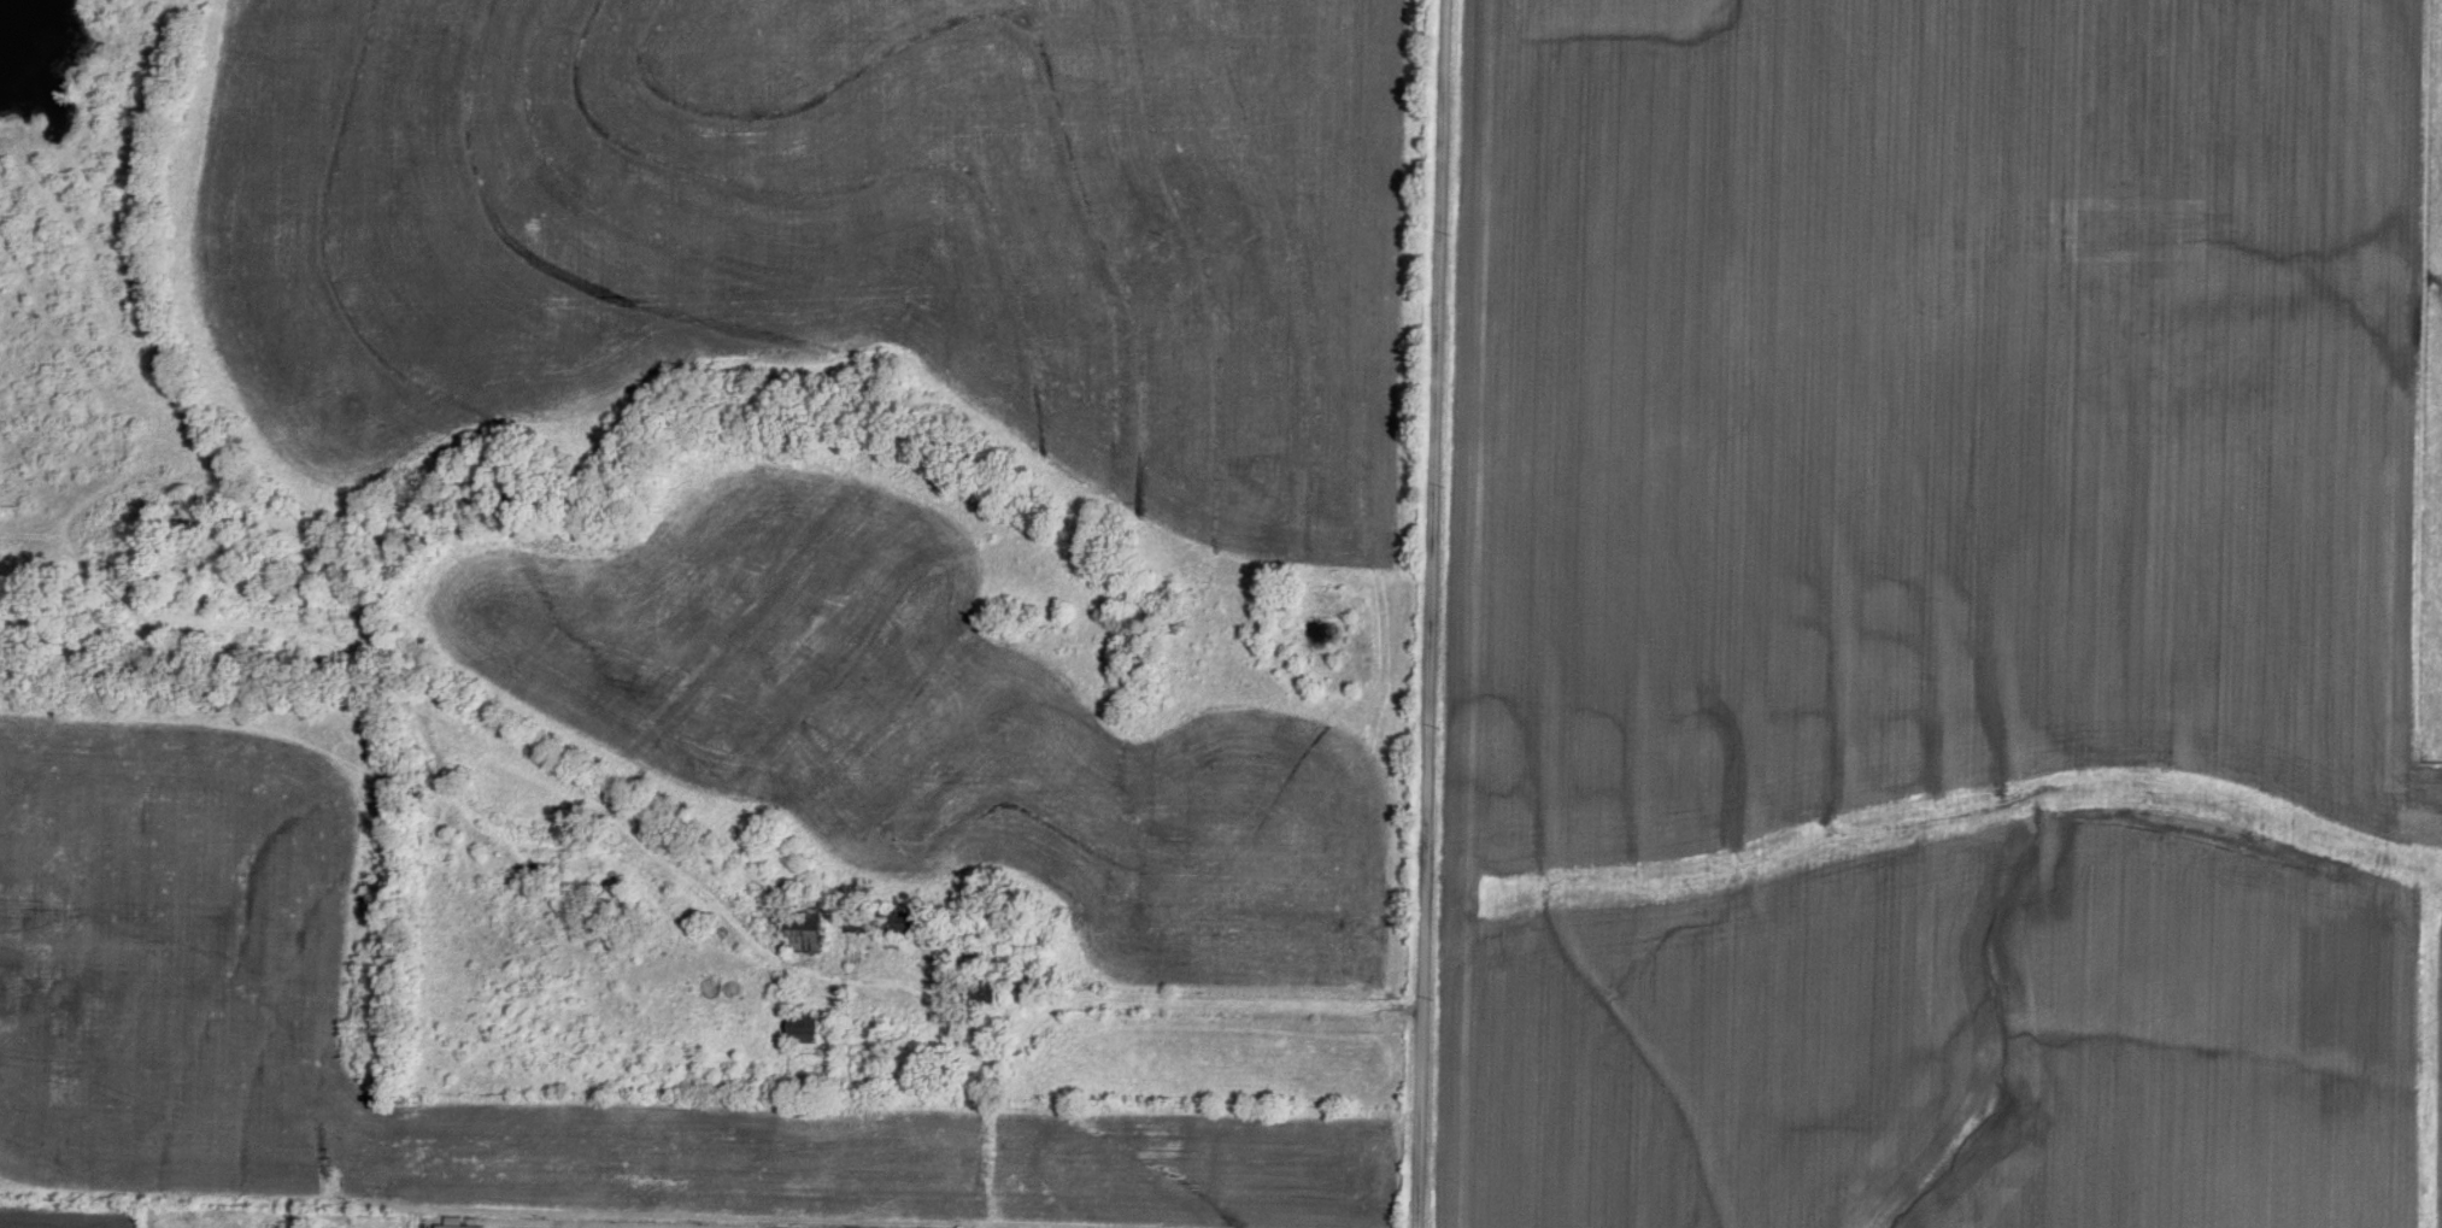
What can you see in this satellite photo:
road: (1430, 613)
crop: (1938, 618)
building: (894, 922)
road: (1233, 939)
building: (986, 997)
building: (802, 1028)

